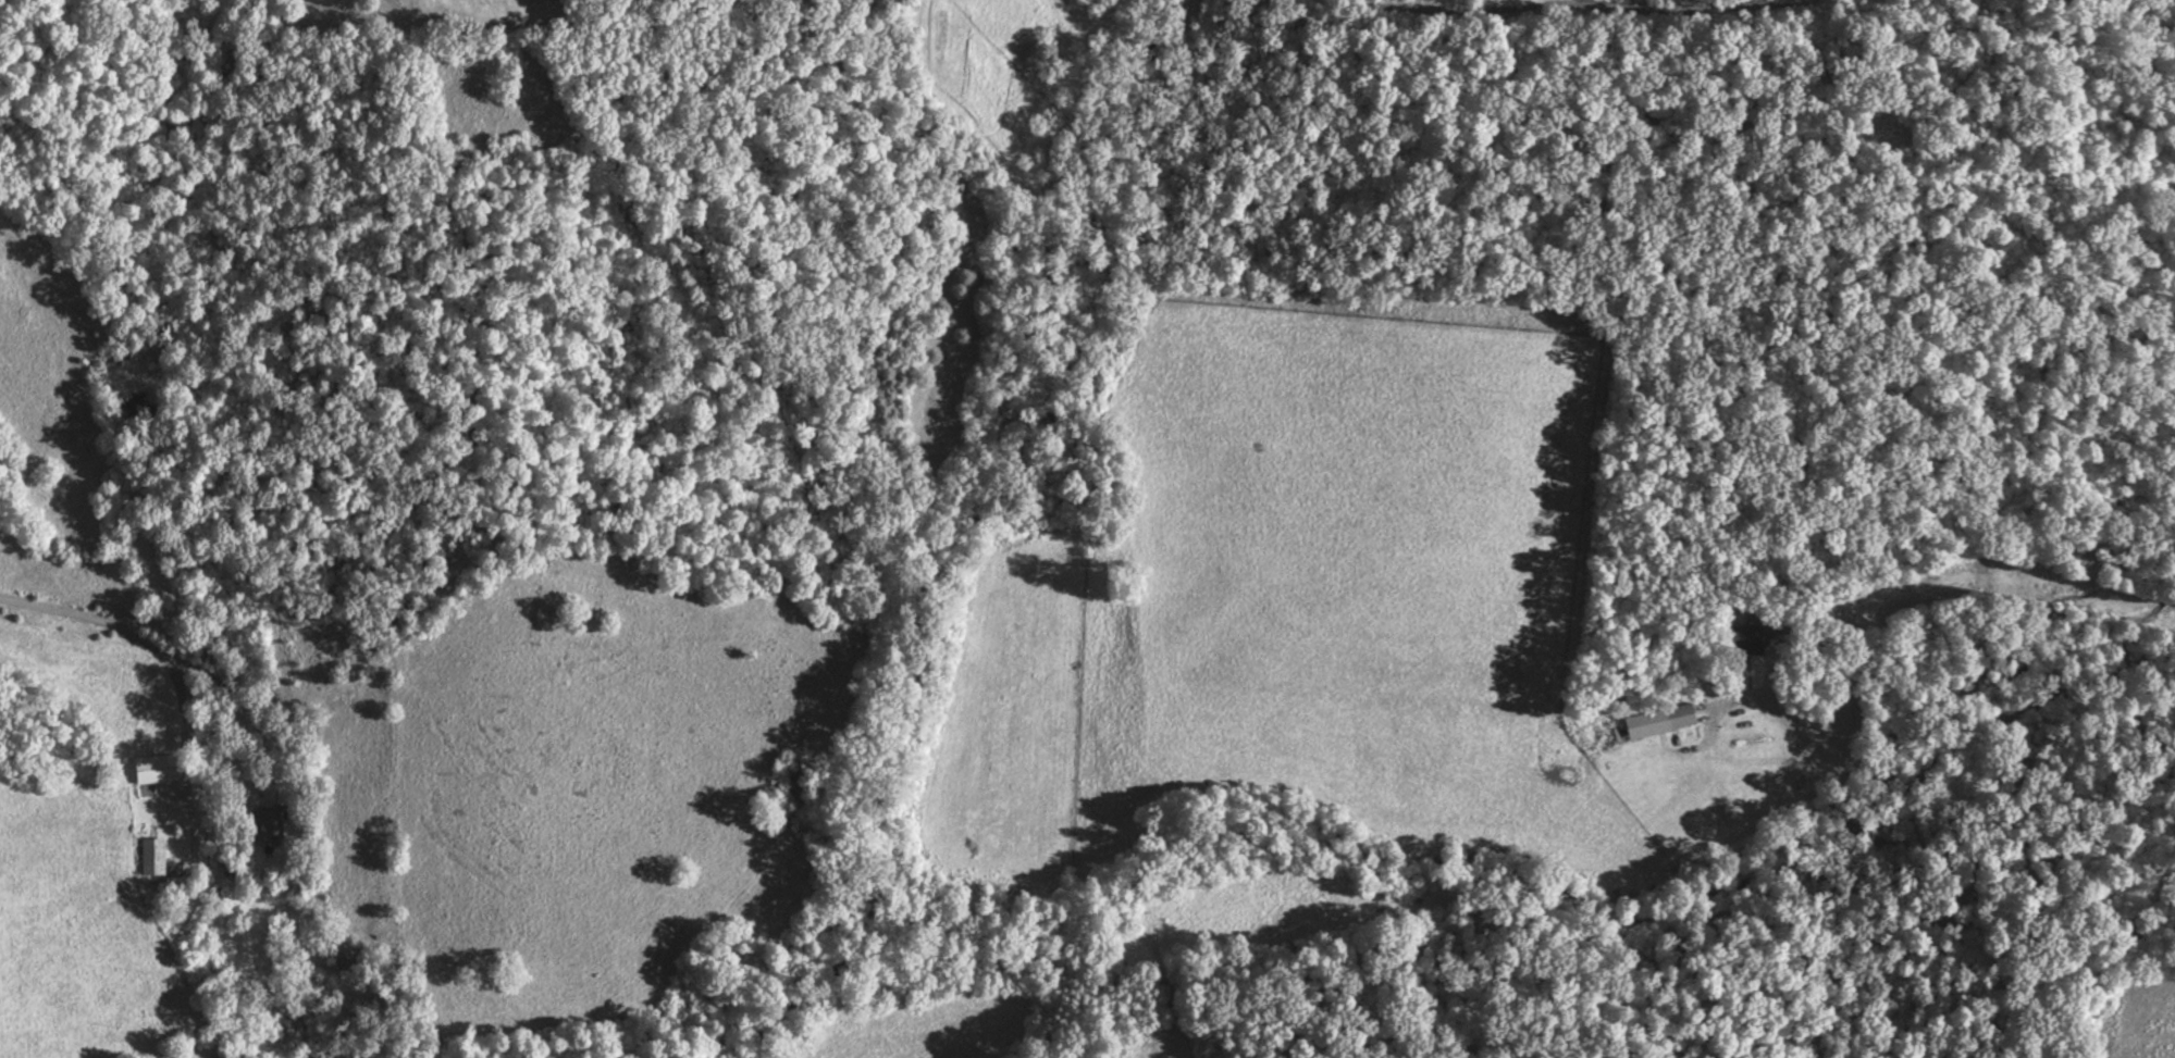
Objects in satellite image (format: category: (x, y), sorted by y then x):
building: (1750, 639)
road: (173, 667)
road: (1775, 689)
building: (1673, 715)
building: (159, 769)
building: (273, 820)
building: (155, 856)
building: (347, 957)

